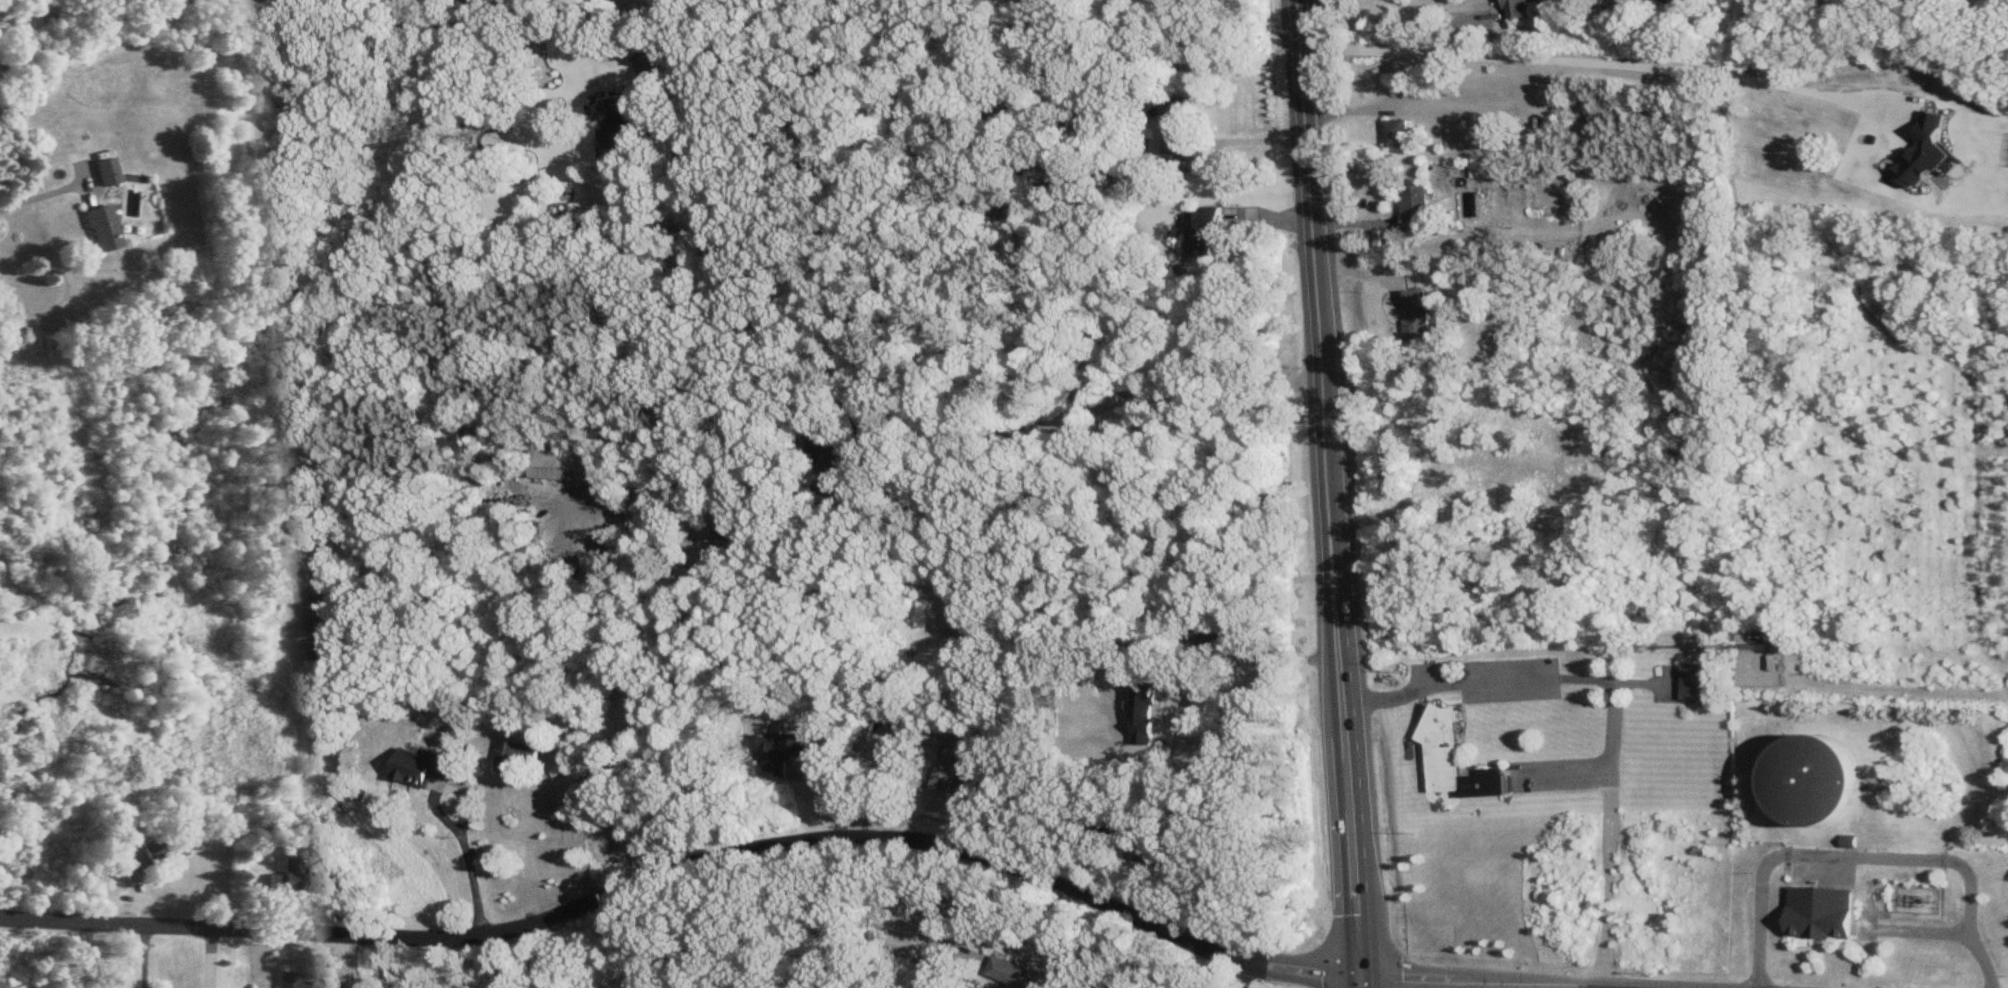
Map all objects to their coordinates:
building: (720, 0)
building: (1133, 1)
road: (1458, 4)
building: (1519, 11)
road: (974, 39)
road: (1593, 60)
building: (1448, 80)
road: (1384, 106)
building: (1970, 110)
building: (1178, 116)
building: (631, 128)
building: (1930, 129)
building: (1581, 131)
building: (1396, 134)
road: (1251, 139)
building: (1478, 171)
building: (104, 173)
road: (36, 201)
building: (1414, 207)
building: (98, 231)
building: (1417, 315)
road: (1107, 402)
building: (831, 448)
building: (570, 468)
road: (1329, 494)
building: (1214, 640)
building: (1696, 683)
road: (1248, 686)
road: (1906, 686)
road: (1616, 699)
building: (788, 751)
building: (519, 757)
building: (1456, 759)
building: (425, 767)
building: (956, 771)
road: (1566, 773)
building: (1816, 780)
building: (1100, 828)
road: (569, 832)
road: (793, 841)
building: (1161, 853)
building: (135, 857)
road: (1869, 858)
building: (282, 876)
building: (314, 879)
road: (475, 879)
road: (977, 909)
building: (1823, 913)
road: (50, 954)
road: (142, 955)
road: (354, 960)
building: (1016, 973)
traffic signals: (1362, 980)
building: (286, 981)

